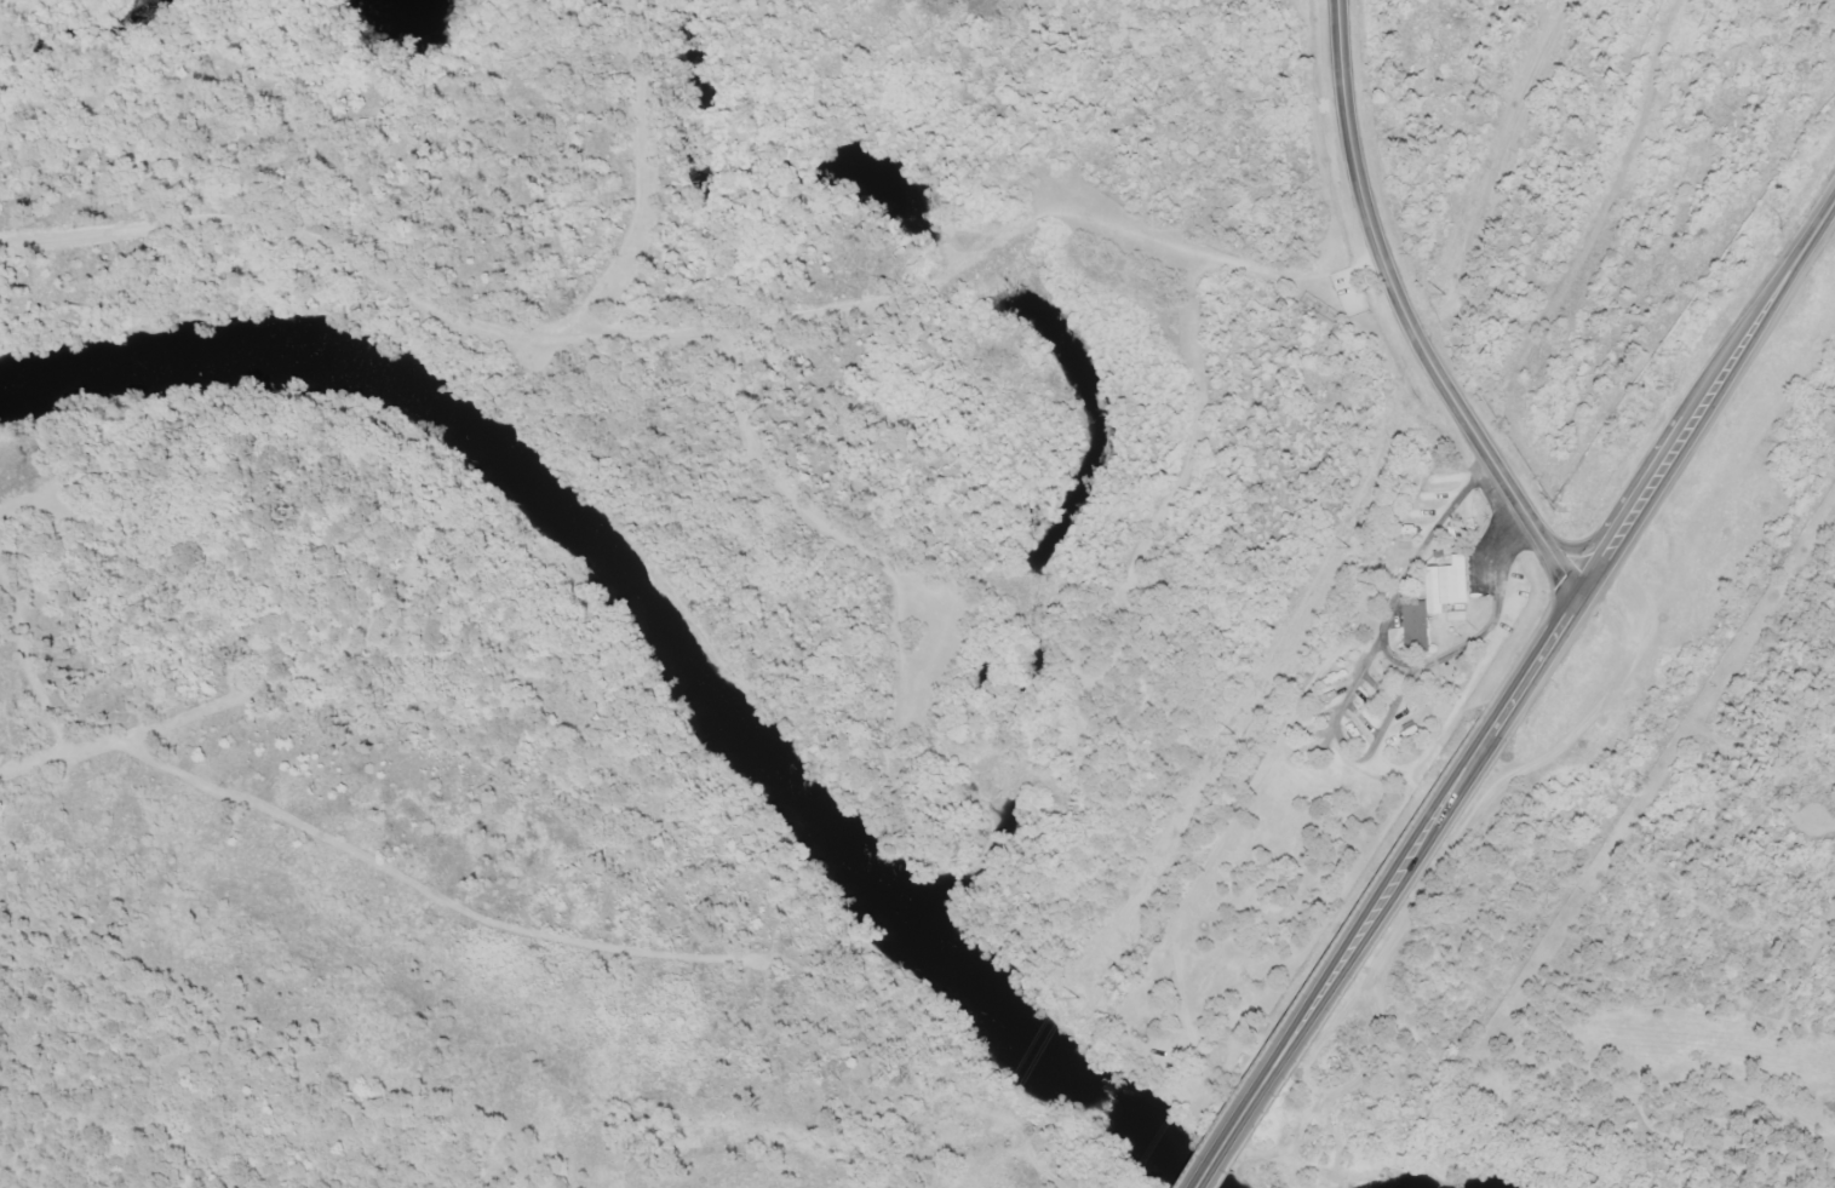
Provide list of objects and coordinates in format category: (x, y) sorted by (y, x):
road: (637, 171)
road: (1366, 268)
parking lot: (1351, 289)
power tower: (1443, 300)
road: (1409, 315)
road: (679, 334)
road: (1665, 458)
road: (1154, 528)
power tower: (1342, 549)
road: (896, 572)
building: (1445, 586)
road: (1034, 589)
railway: (1335, 593)
river: (659, 645)
road: (27, 664)
road: (281, 684)
building: (1407, 731)
power tower: (1232, 735)
park: (1713, 873)
road: (429, 894)
road: (1361, 934)
road: (1804, 964)
power tower: (1076, 999)
road: (1820, 1134)
road: (1212, 1170)

